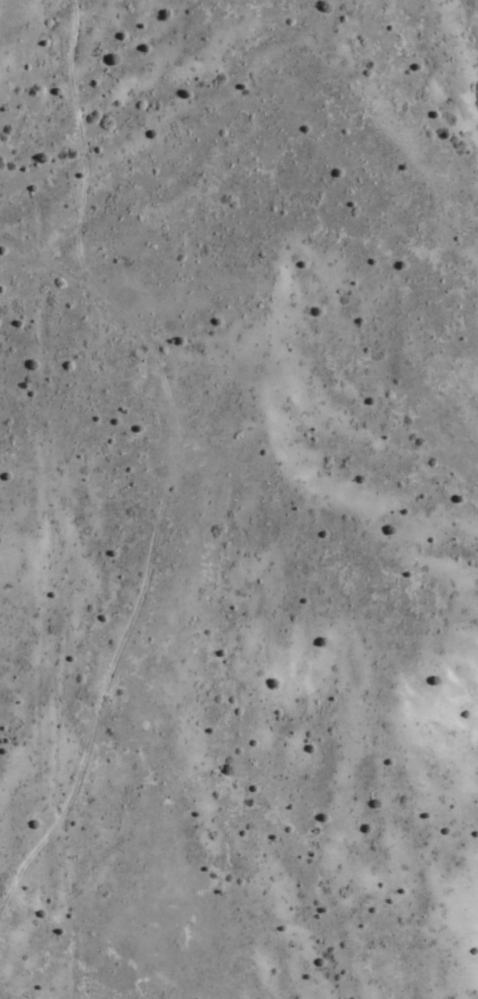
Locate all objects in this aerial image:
road: (73, 91)
road: (215, 456)

